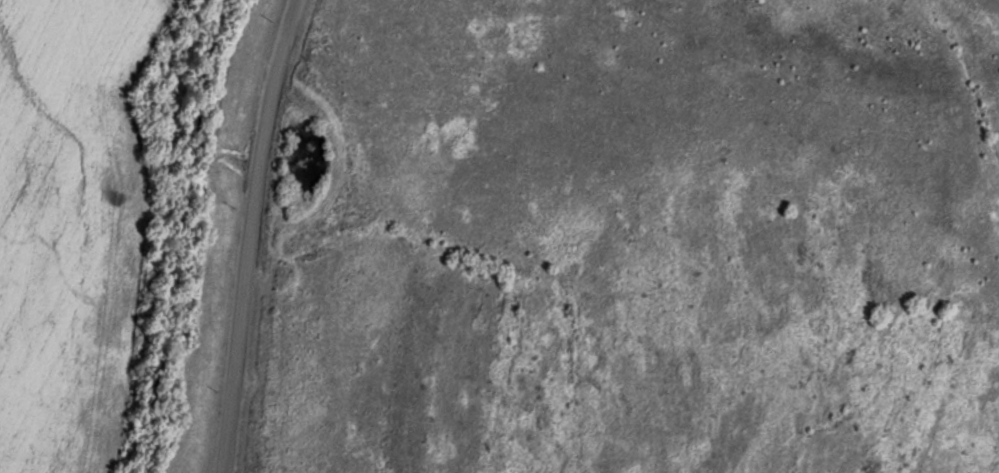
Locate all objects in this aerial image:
road: (251, 234)

